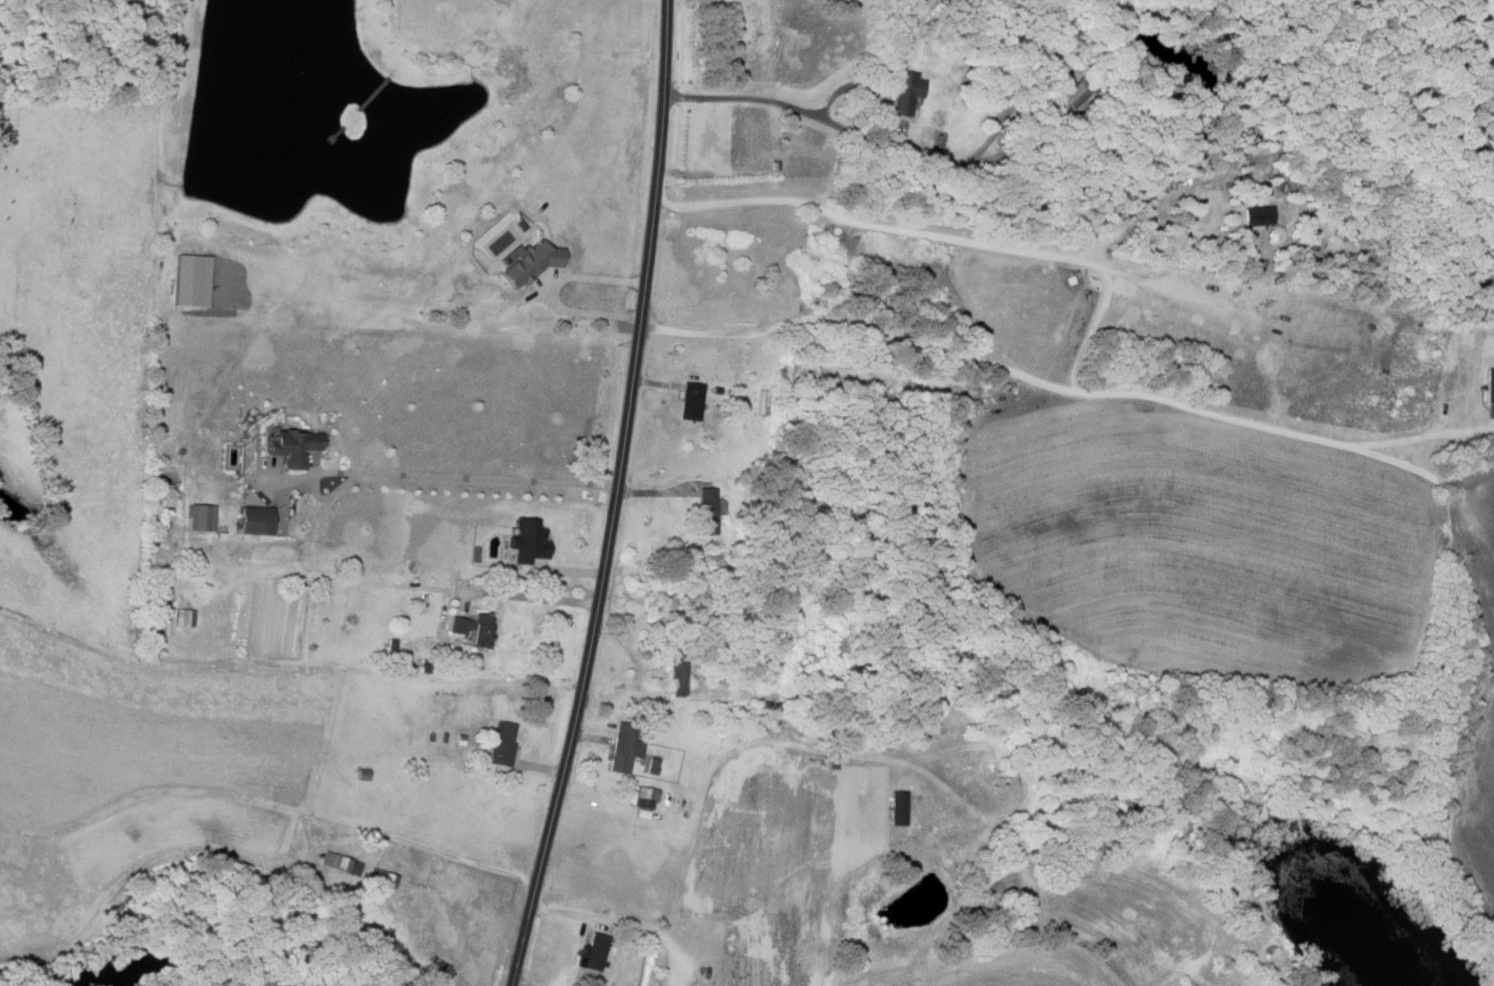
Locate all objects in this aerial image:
building: (907, 92)
road: (914, 154)
building: (1258, 216)
road: (939, 236)
building: (529, 263)
building: (189, 280)
road: (554, 291)
road: (1097, 318)
road: (1048, 383)
building: (1490, 386)
building: (692, 395)
building: (293, 447)
road: (468, 476)
road: (612, 497)
building: (254, 521)
building: (527, 542)
road: (397, 582)
building: (183, 617)
building: (473, 630)
building: (678, 676)
building: (502, 744)
building: (624, 748)
road: (722, 758)
building: (652, 766)
building: (646, 797)
building: (898, 809)
road: (424, 847)
road: (622, 920)
building: (595, 951)

